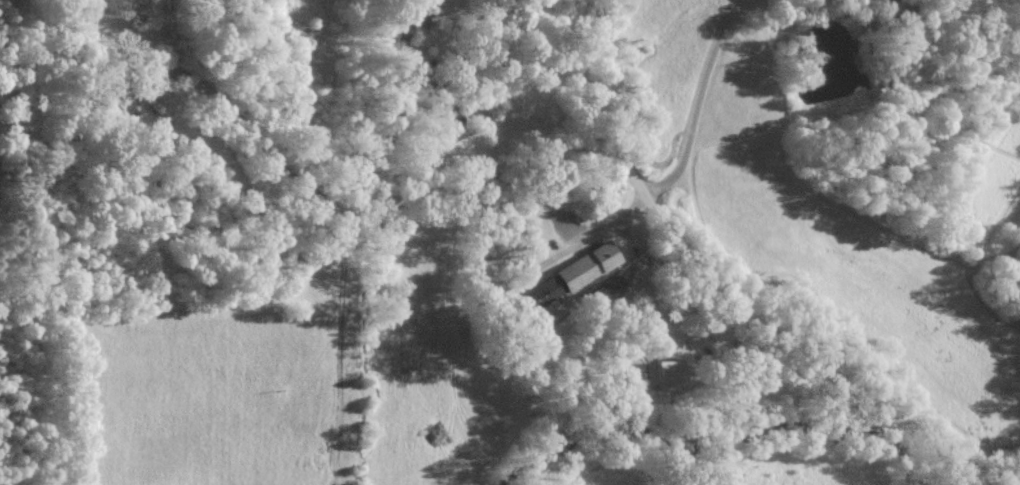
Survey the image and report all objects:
road: (73, 31)
building: (402, 37)
road: (701, 102)
building: (450, 116)
road: (434, 123)
road: (527, 162)
building: (567, 275)
building: (665, 372)

